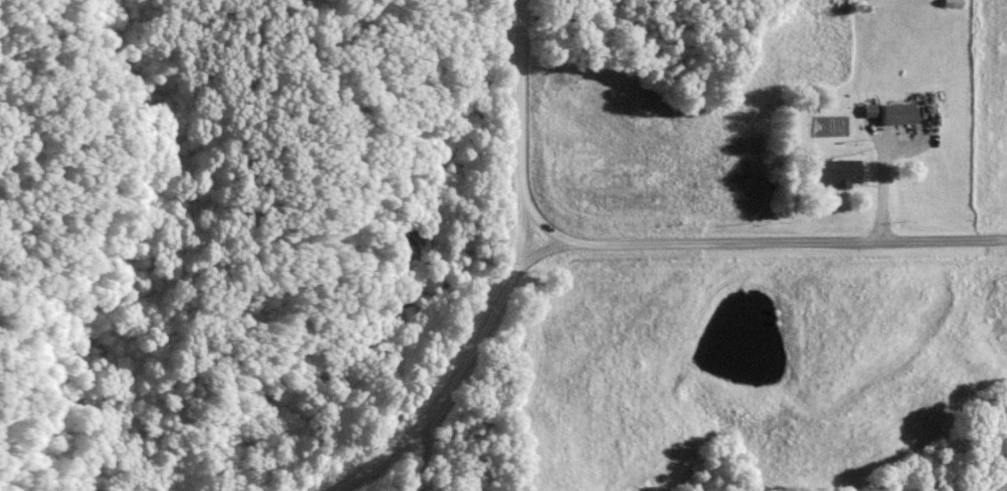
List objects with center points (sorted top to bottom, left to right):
building: (868, 109)
building: (896, 112)
road: (521, 119)
building: (835, 171)
road: (776, 237)
road: (456, 372)

